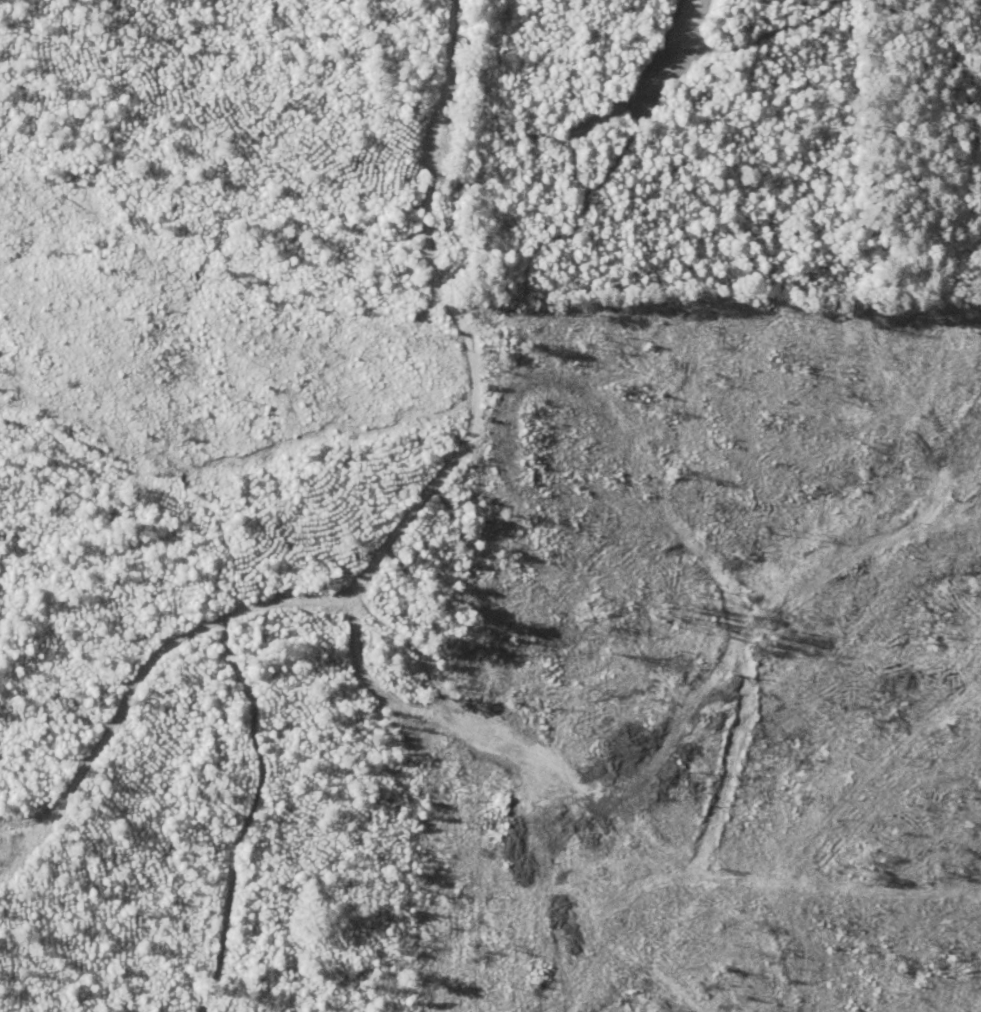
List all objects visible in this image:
road: (683, 867)

